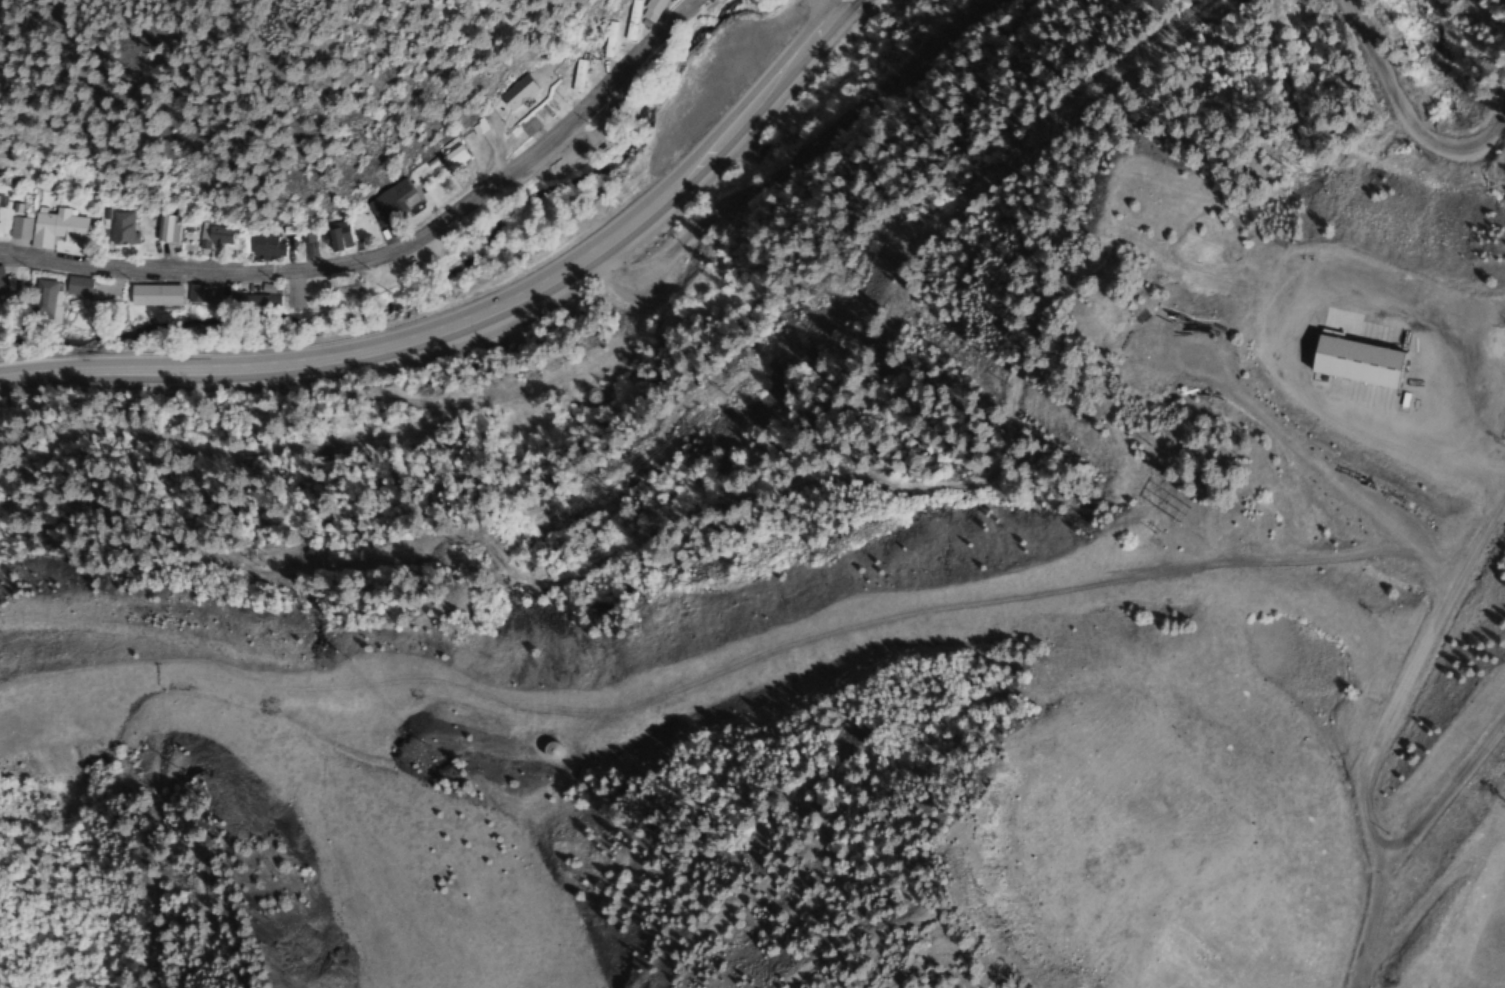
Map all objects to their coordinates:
building: (649, 9)
road: (834, 10)
building: (629, 19)
building: (607, 38)
road: (631, 56)
building: (576, 75)
building: (514, 91)
building: (475, 126)
building: (522, 129)
building: (448, 152)
building: (389, 202)
building: (46, 227)
building: (165, 227)
building: (121, 229)
building: (212, 235)
building: (336, 236)
building: (264, 246)
road: (310, 273)
building: (1, 283)
building: (77, 285)
building: (337, 287)
building: (150, 294)
building: (195, 298)
building: (42, 299)
road: (487, 320)
building: (1353, 361)
building: (550, 750)
quarry: (1449, 902)

